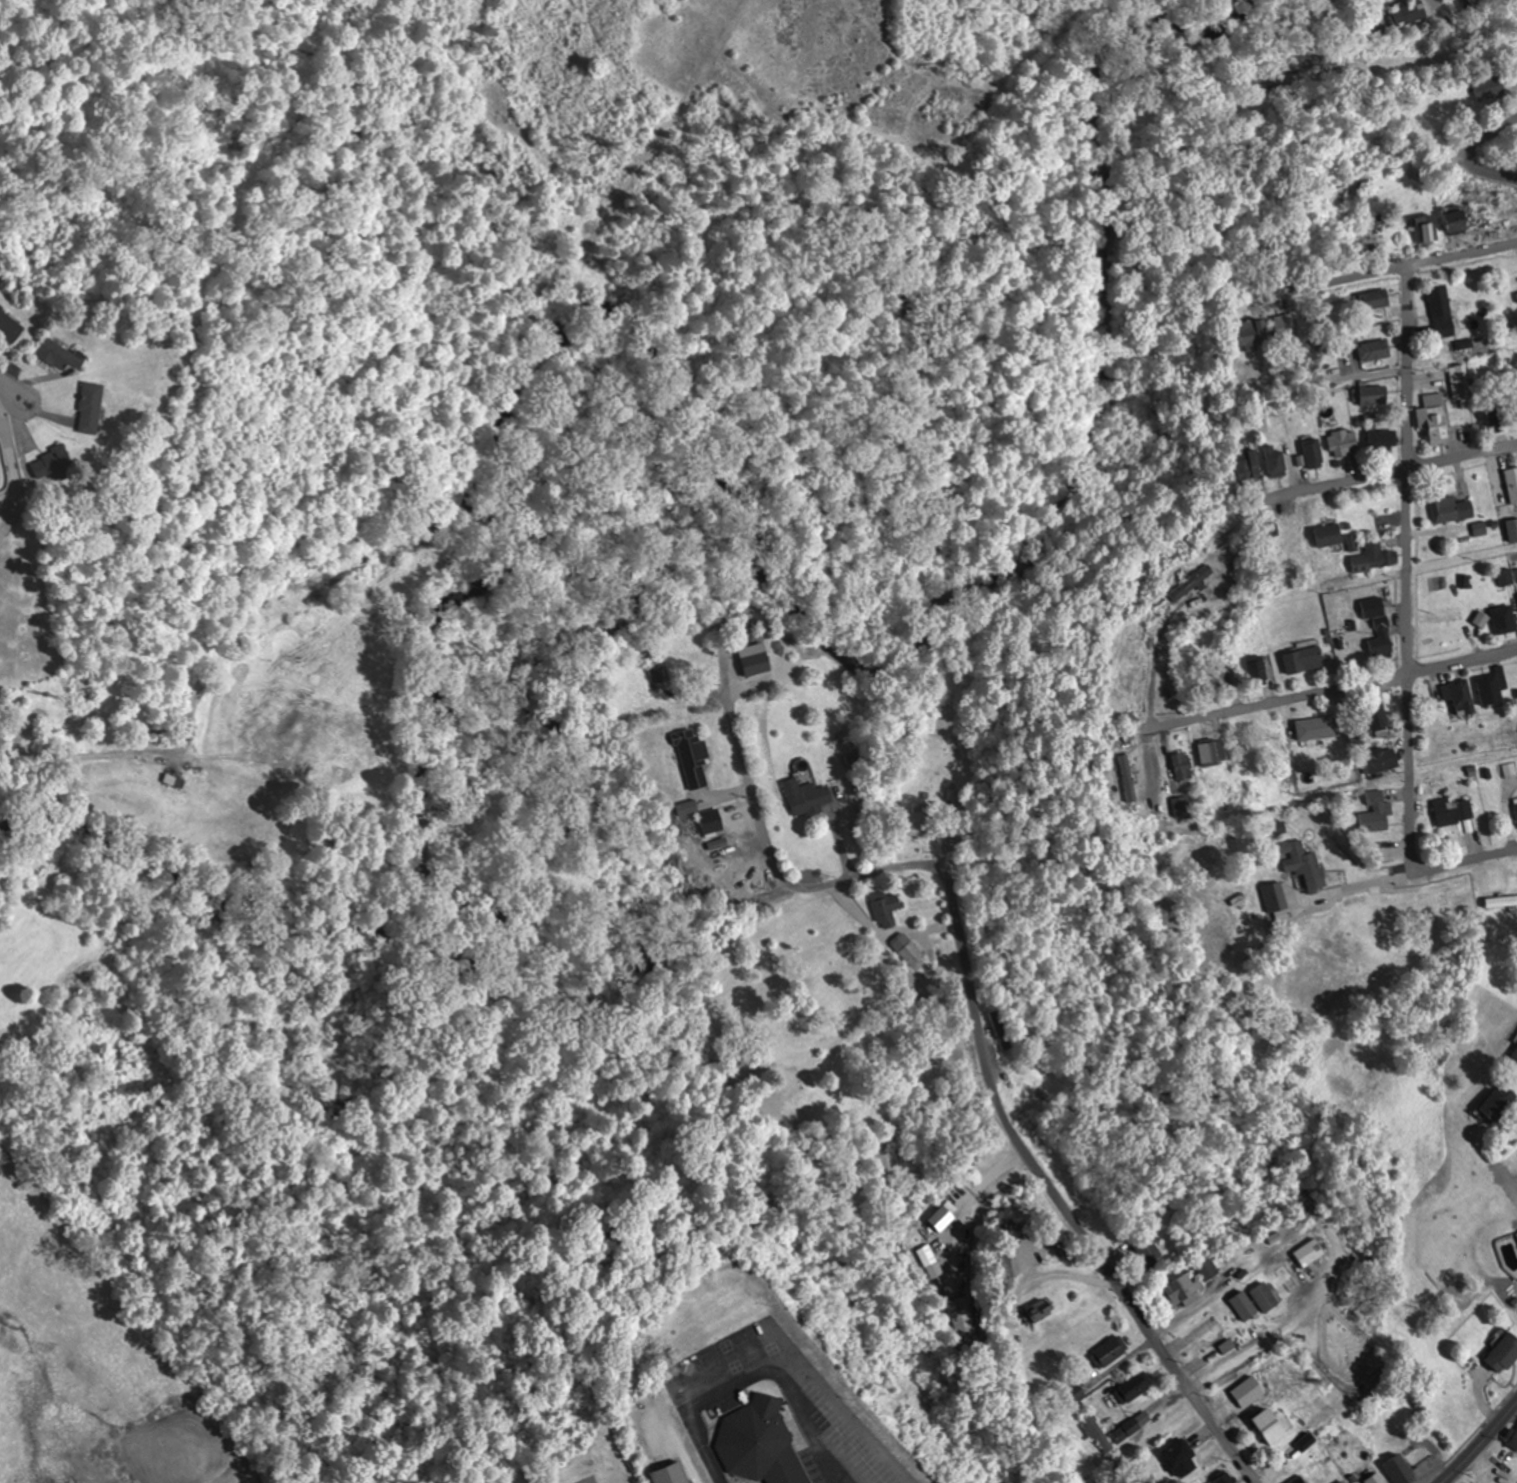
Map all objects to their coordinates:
building: (1409, 13)
road: (1412, 49)
building: (1490, 89)
road: (1471, 153)
building: (1458, 221)
building: (1426, 229)
road: (1388, 267)
building: (1516, 267)
building: (1442, 306)
building: (1283, 324)
building: (8, 326)
building: (1251, 334)
building: (1375, 350)
building: (59, 355)
building: (1465, 386)
road: (7, 388)
building: (1374, 395)
building: (1434, 399)
building: (92, 407)
building: (1435, 424)
building: (1386, 439)
building: (1345, 442)
building: (1315, 453)
building: (1276, 463)
building: (55, 464)
building: (1247, 465)
road: (1395, 473)
building: (1512, 484)
building: (1453, 510)
building: (1512, 530)
building: (1329, 535)
building: (1377, 557)
road: (1409, 565)
building: (1190, 582)
building: (1159, 607)
building: (1481, 619)
building: (1505, 620)
building: (1380, 628)
building: (1305, 660)
building: (755, 664)
building: (659, 675)
building: (1494, 688)
road: (1328, 691)
building: (1461, 699)
building: (1375, 721)
building: (1321, 729)
building: (1212, 753)
building: (855, 758)
building: (1383, 761)
building: (694, 762)
building: (1182, 767)
building: (808, 797)
building: (1181, 807)
building: (1516, 812)
building: (1377, 814)
building: (1455, 814)
building: (711, 821)
road: (1468, 859)
road: (772, 862)
building: (1304, 864)
building: (886, 908)
building: (911, 949)
building: (999, 1030)
building: (1499, 1101)
road: (1051, 1191)
building: (1144, 1250)
building: (1307, 1251)
building: (1181, 1289)
building: (1264, 1296)
building: (1243, 1305)
building: (958, 1317)
building: (1106, 1352)
building: (1505, 1352)
road: (1241, 1356)
road: (679, 1384)
building: (1131, 1387)
building: (1260, 1419)
road: (854, 1421)
building: (1130, 1426)
road: (811, 1430)
building: (1095, 1432)
building: (1512, 1437)
building: (1307, 1441)
building: (763, 1443)
road: (1480, 1443)
road: (706, 1446)
building: (1179, 1456)
building: (1401, 1470)
building: (1299, 1480)
building: (1373, 1480)

